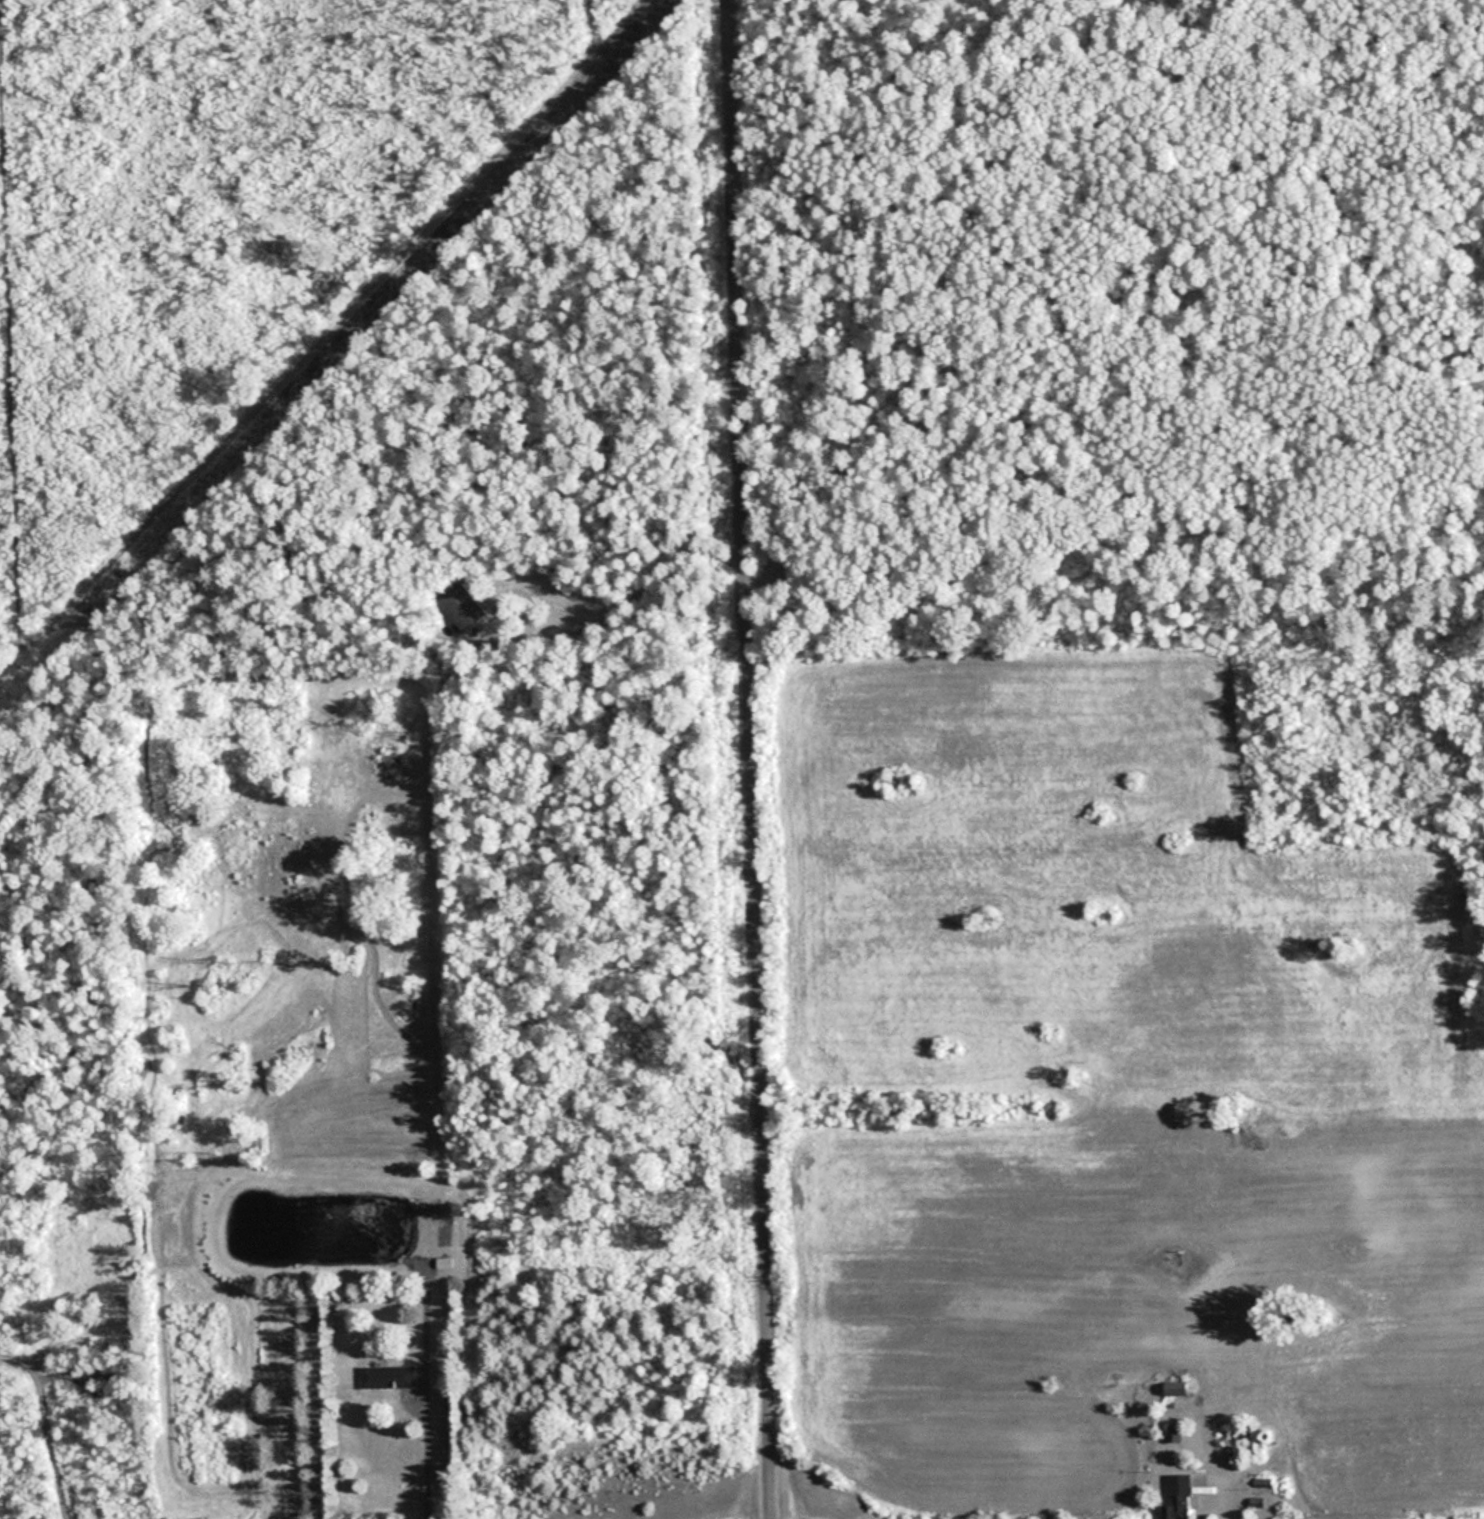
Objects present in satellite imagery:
park: (1105, 312)
building: (462, 605)
road: (750, 759)
building: (444, 1261)
building: (387, 1378)
building: (1175, 1433)
road: (422, 1457)
building: (1179, 1497)

